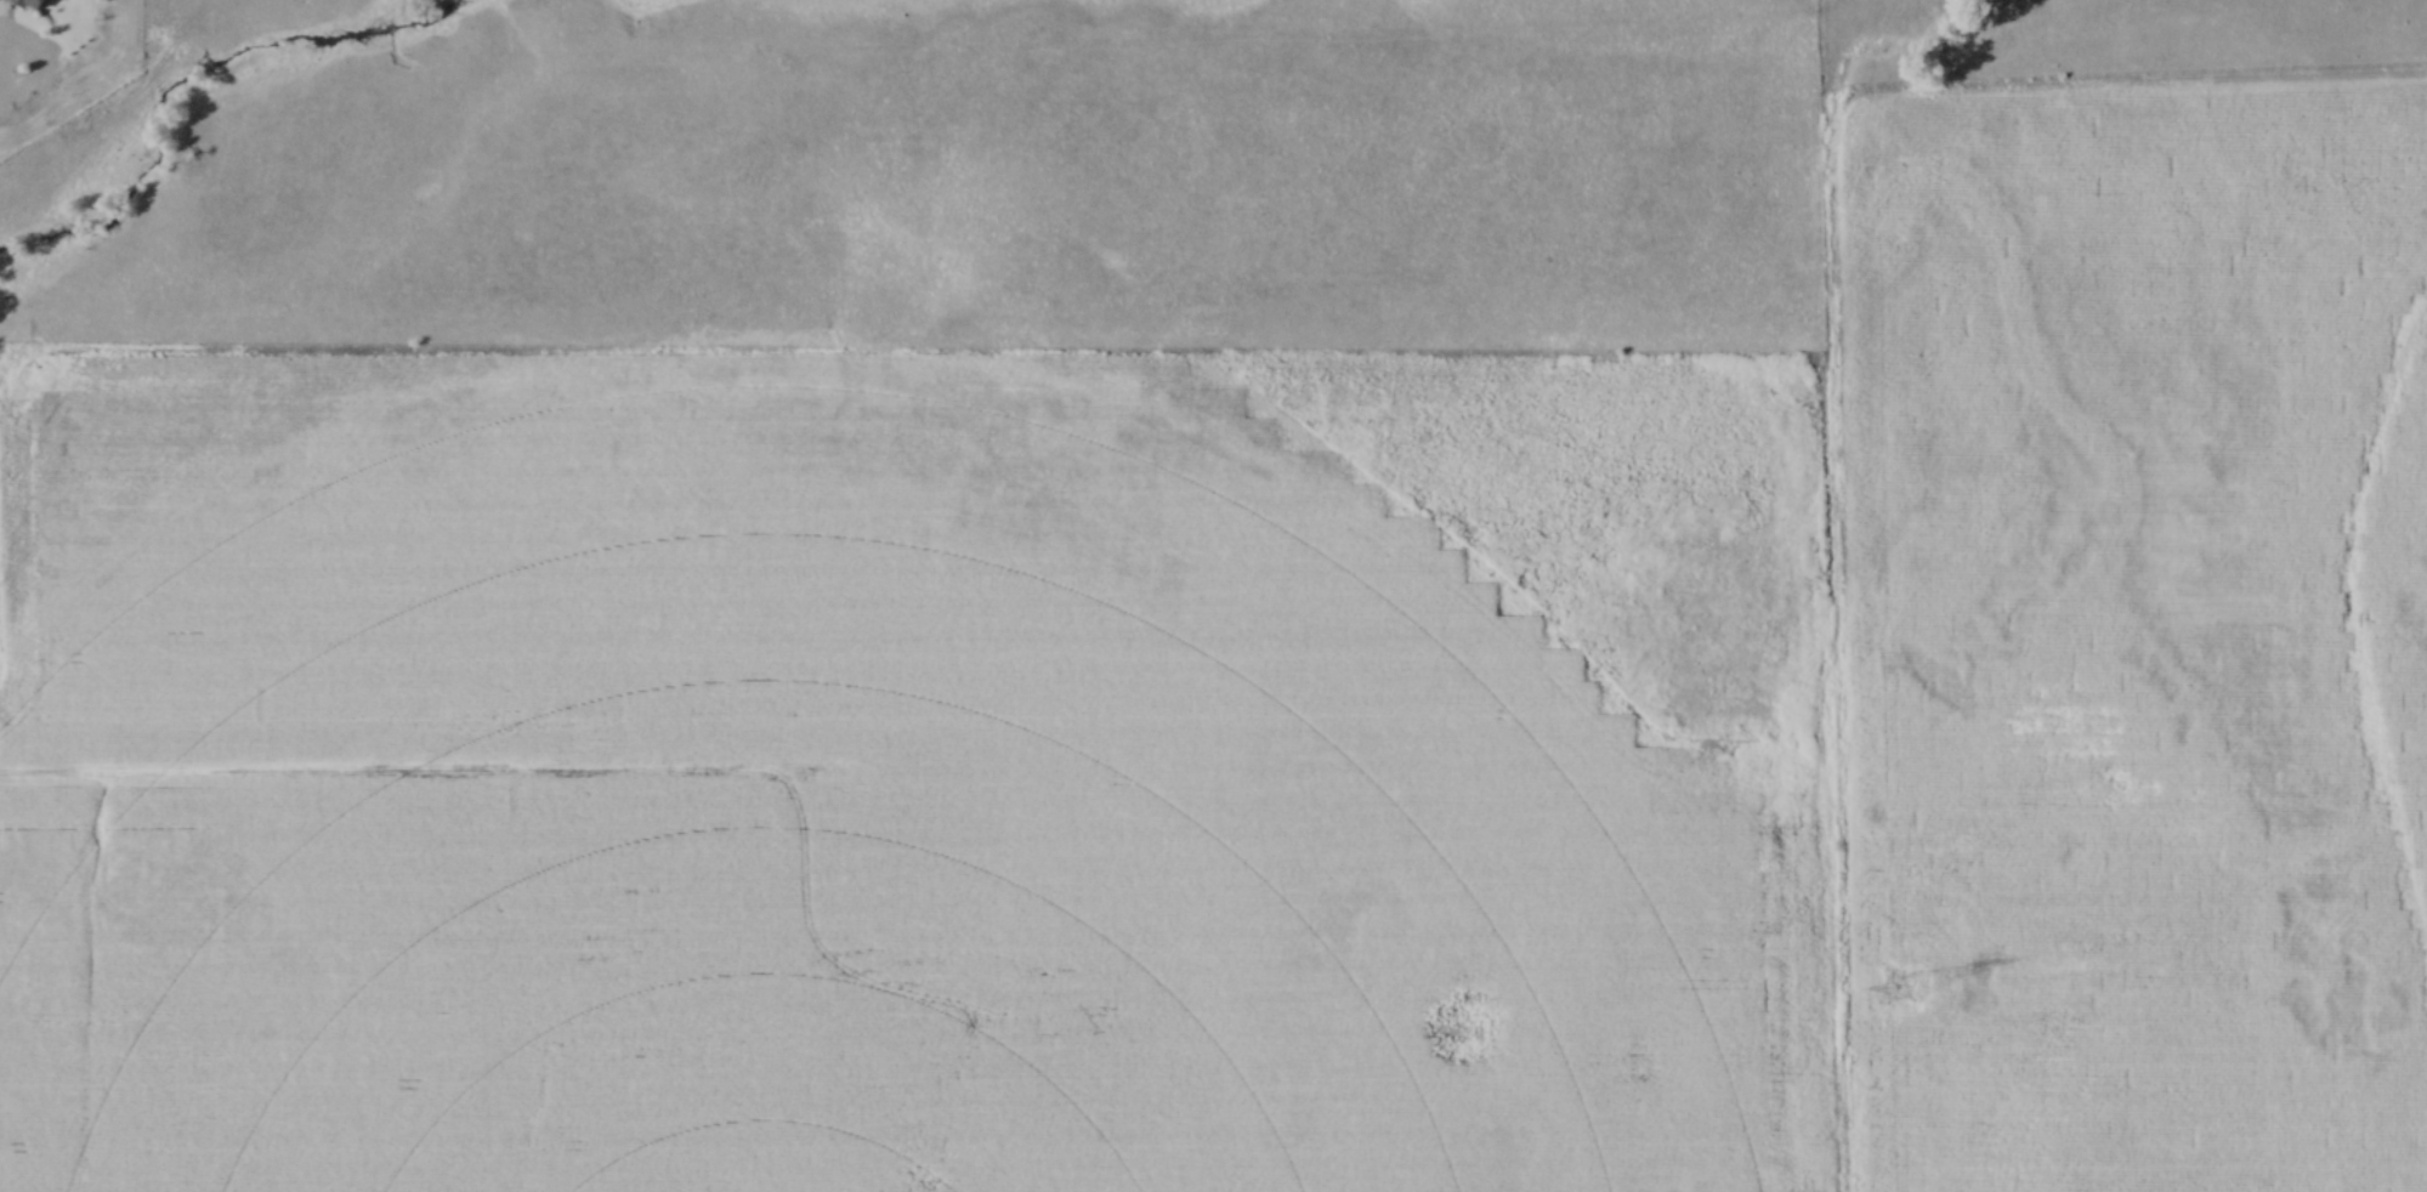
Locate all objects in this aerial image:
power tower: (1899, 991)

